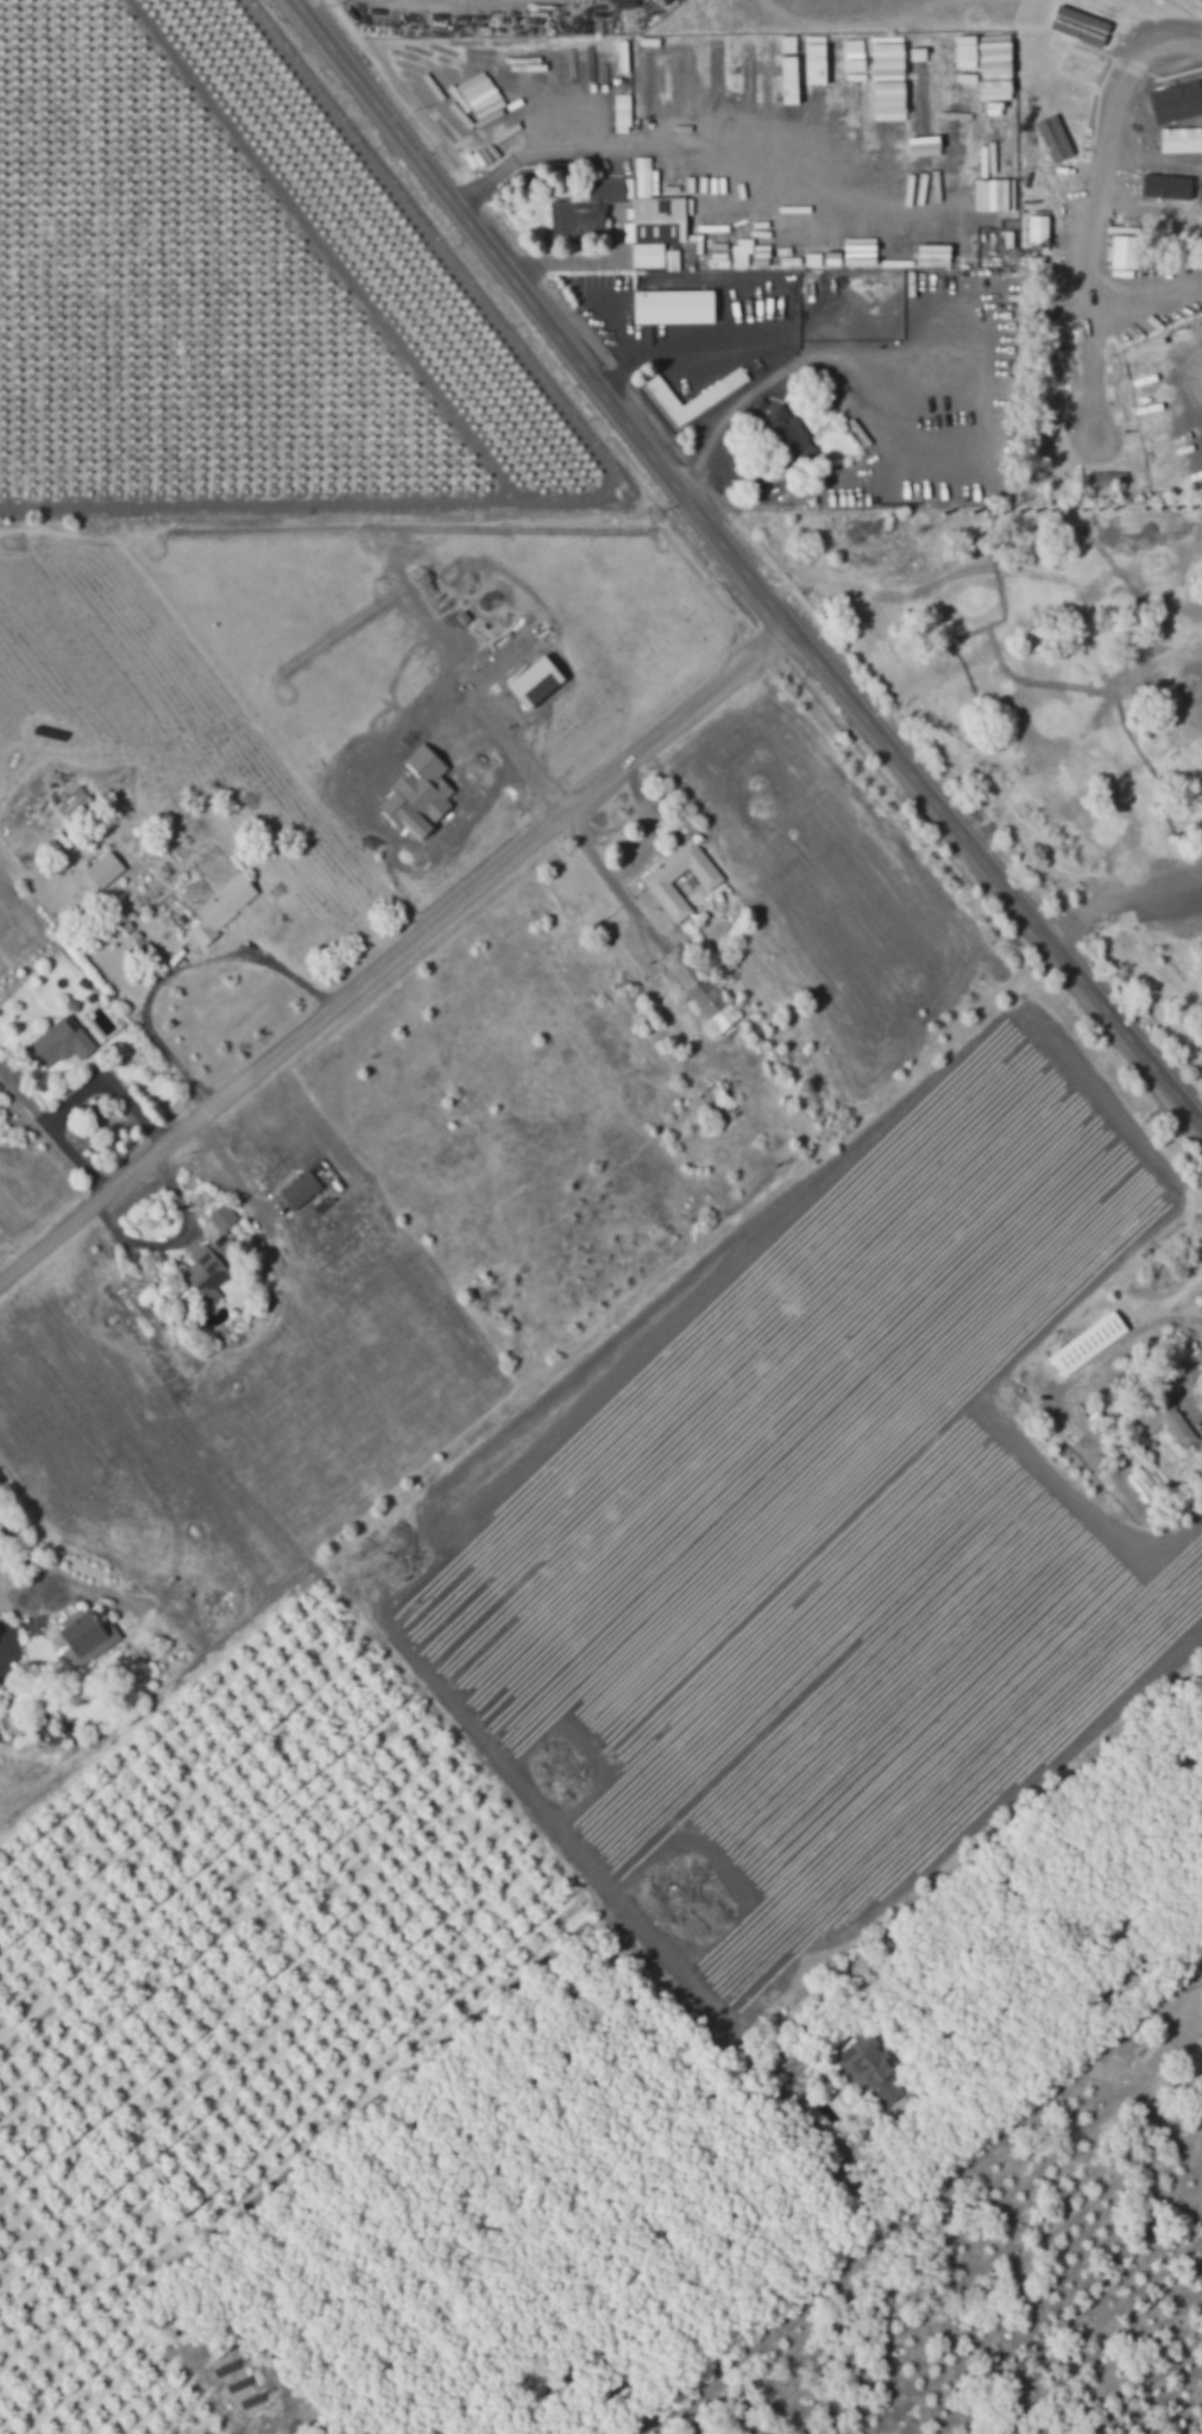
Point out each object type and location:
building: (993, 59)
building: (1084, 69)
building: (1177, 101)
building: (622, 109)
building: (1196, 158)
road: (534, 159)
road: (1099, 180)
building: (590, 208)
building: (1171, 208)
building: (654, 222)
building: (1038, 229)
building: (1124, 252)
road: (585, 262)
building: (673, 307)
road: (682, 347)
building: (693, 395)
building: (786, 427)
building: (1108, 478)
road: (741, 567)
building: (71, 803)
building: (103, 869)
building: (656, 881)
building: (221, 907)
road: (395, 951)
road: (176, 970)
building: (701, 992)
building: (59, 1043)
road: (111, 1087)
road: (52, 1128)
building: (221, 1218)
building: (225, 1241)
building: (206, 1273)
building: (1170, 1424)
road: (27, 1559)
building: (84, 1637)
road: (1078, 1891)
building: (869, 2068)

